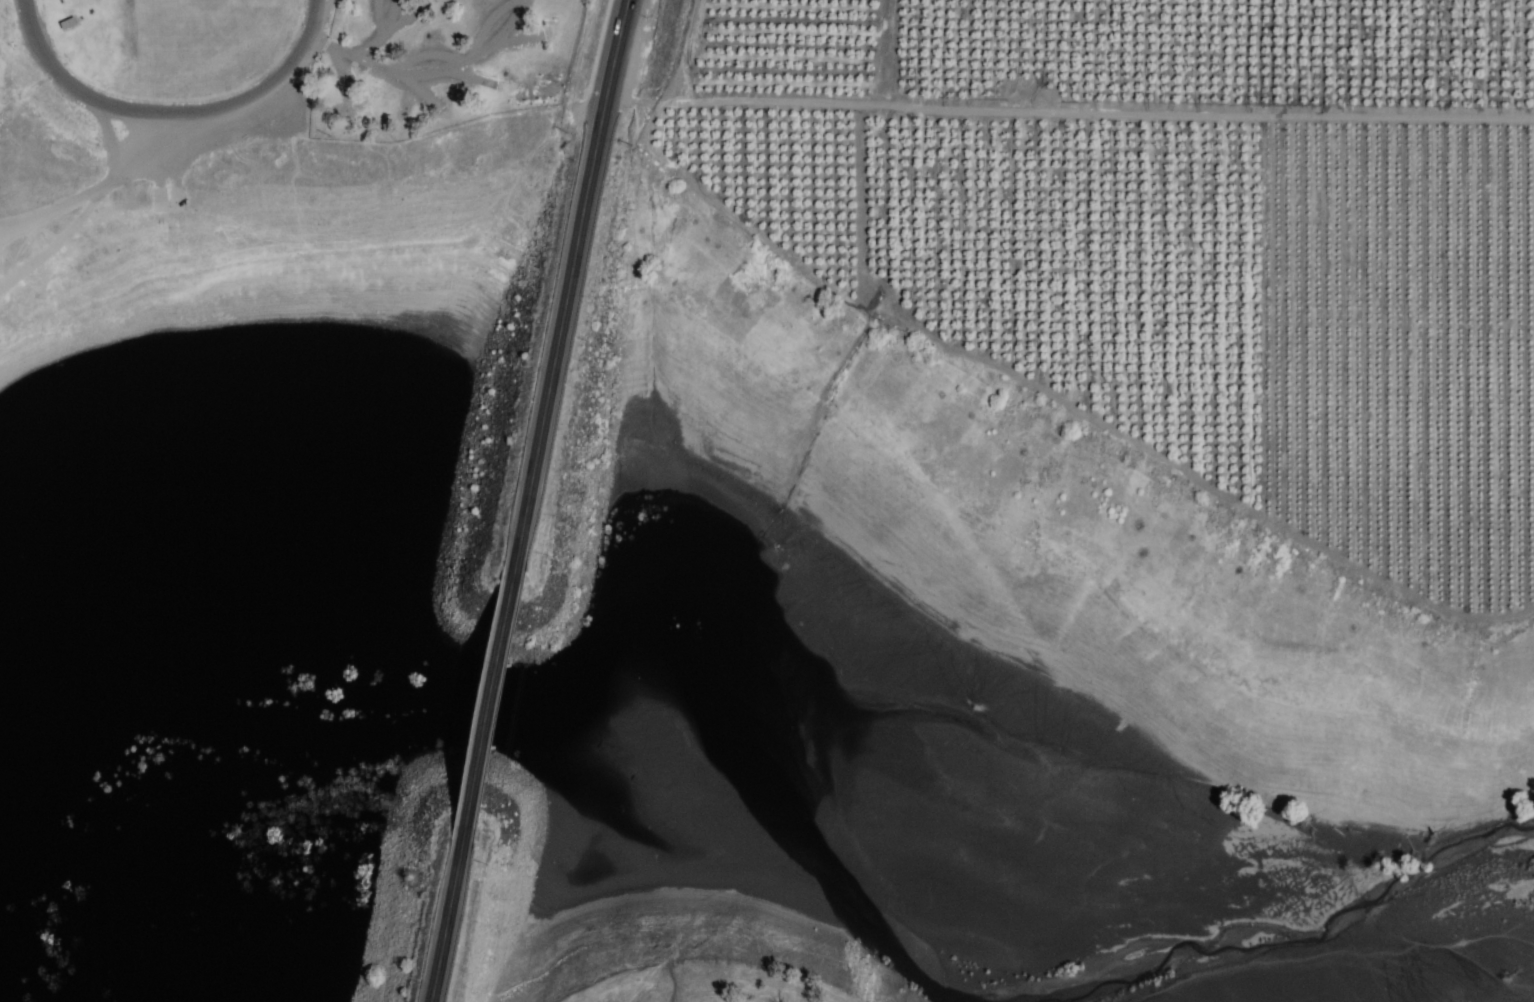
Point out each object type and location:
building: (66, 24)
road: (170, 110)
crop: (1171, 249)
road: (566, 281)
river: (561, 698)
road: (485, 704)
road: (443, 922)
river: (1307, 927)

